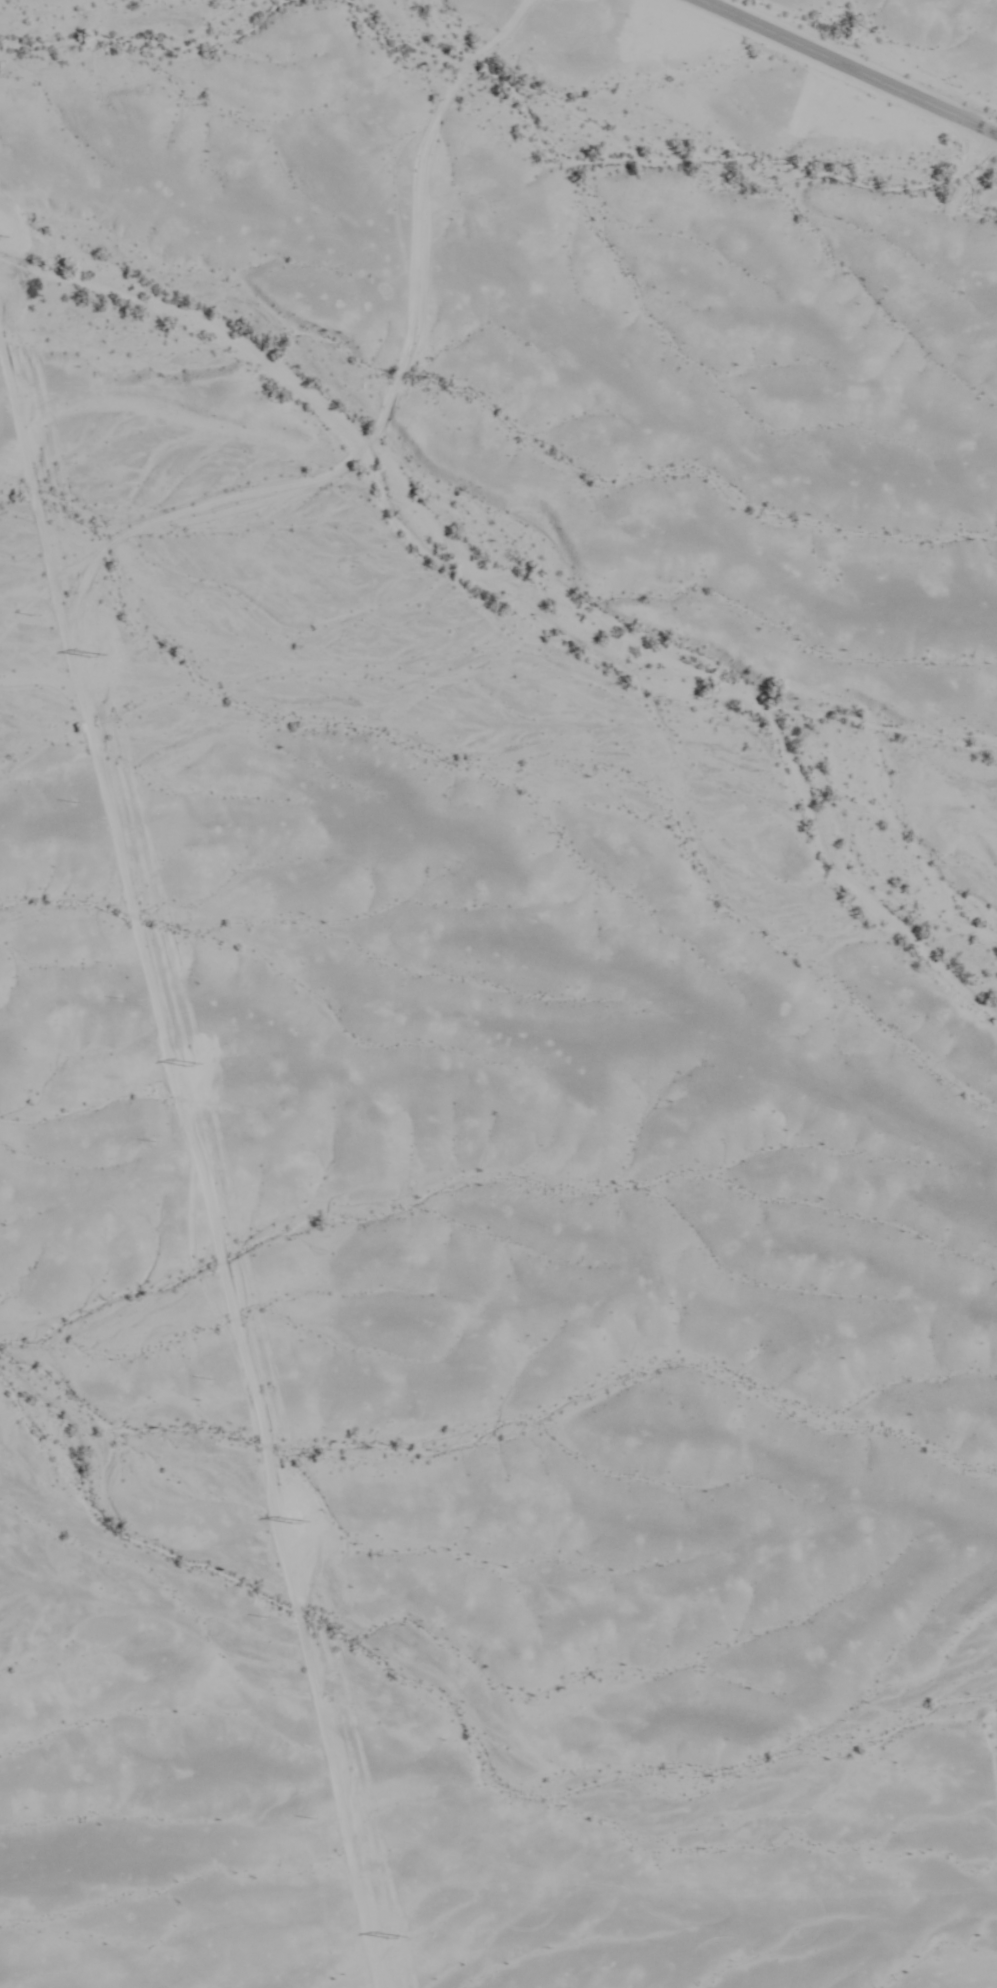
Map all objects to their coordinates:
road: (846, 68)
road: (398, 397)
power tower: (99, 654)
power tower: (199, 1067)
road: (188, 1168)
power tower: (297, 1524)
power tower: (397, 1936)

